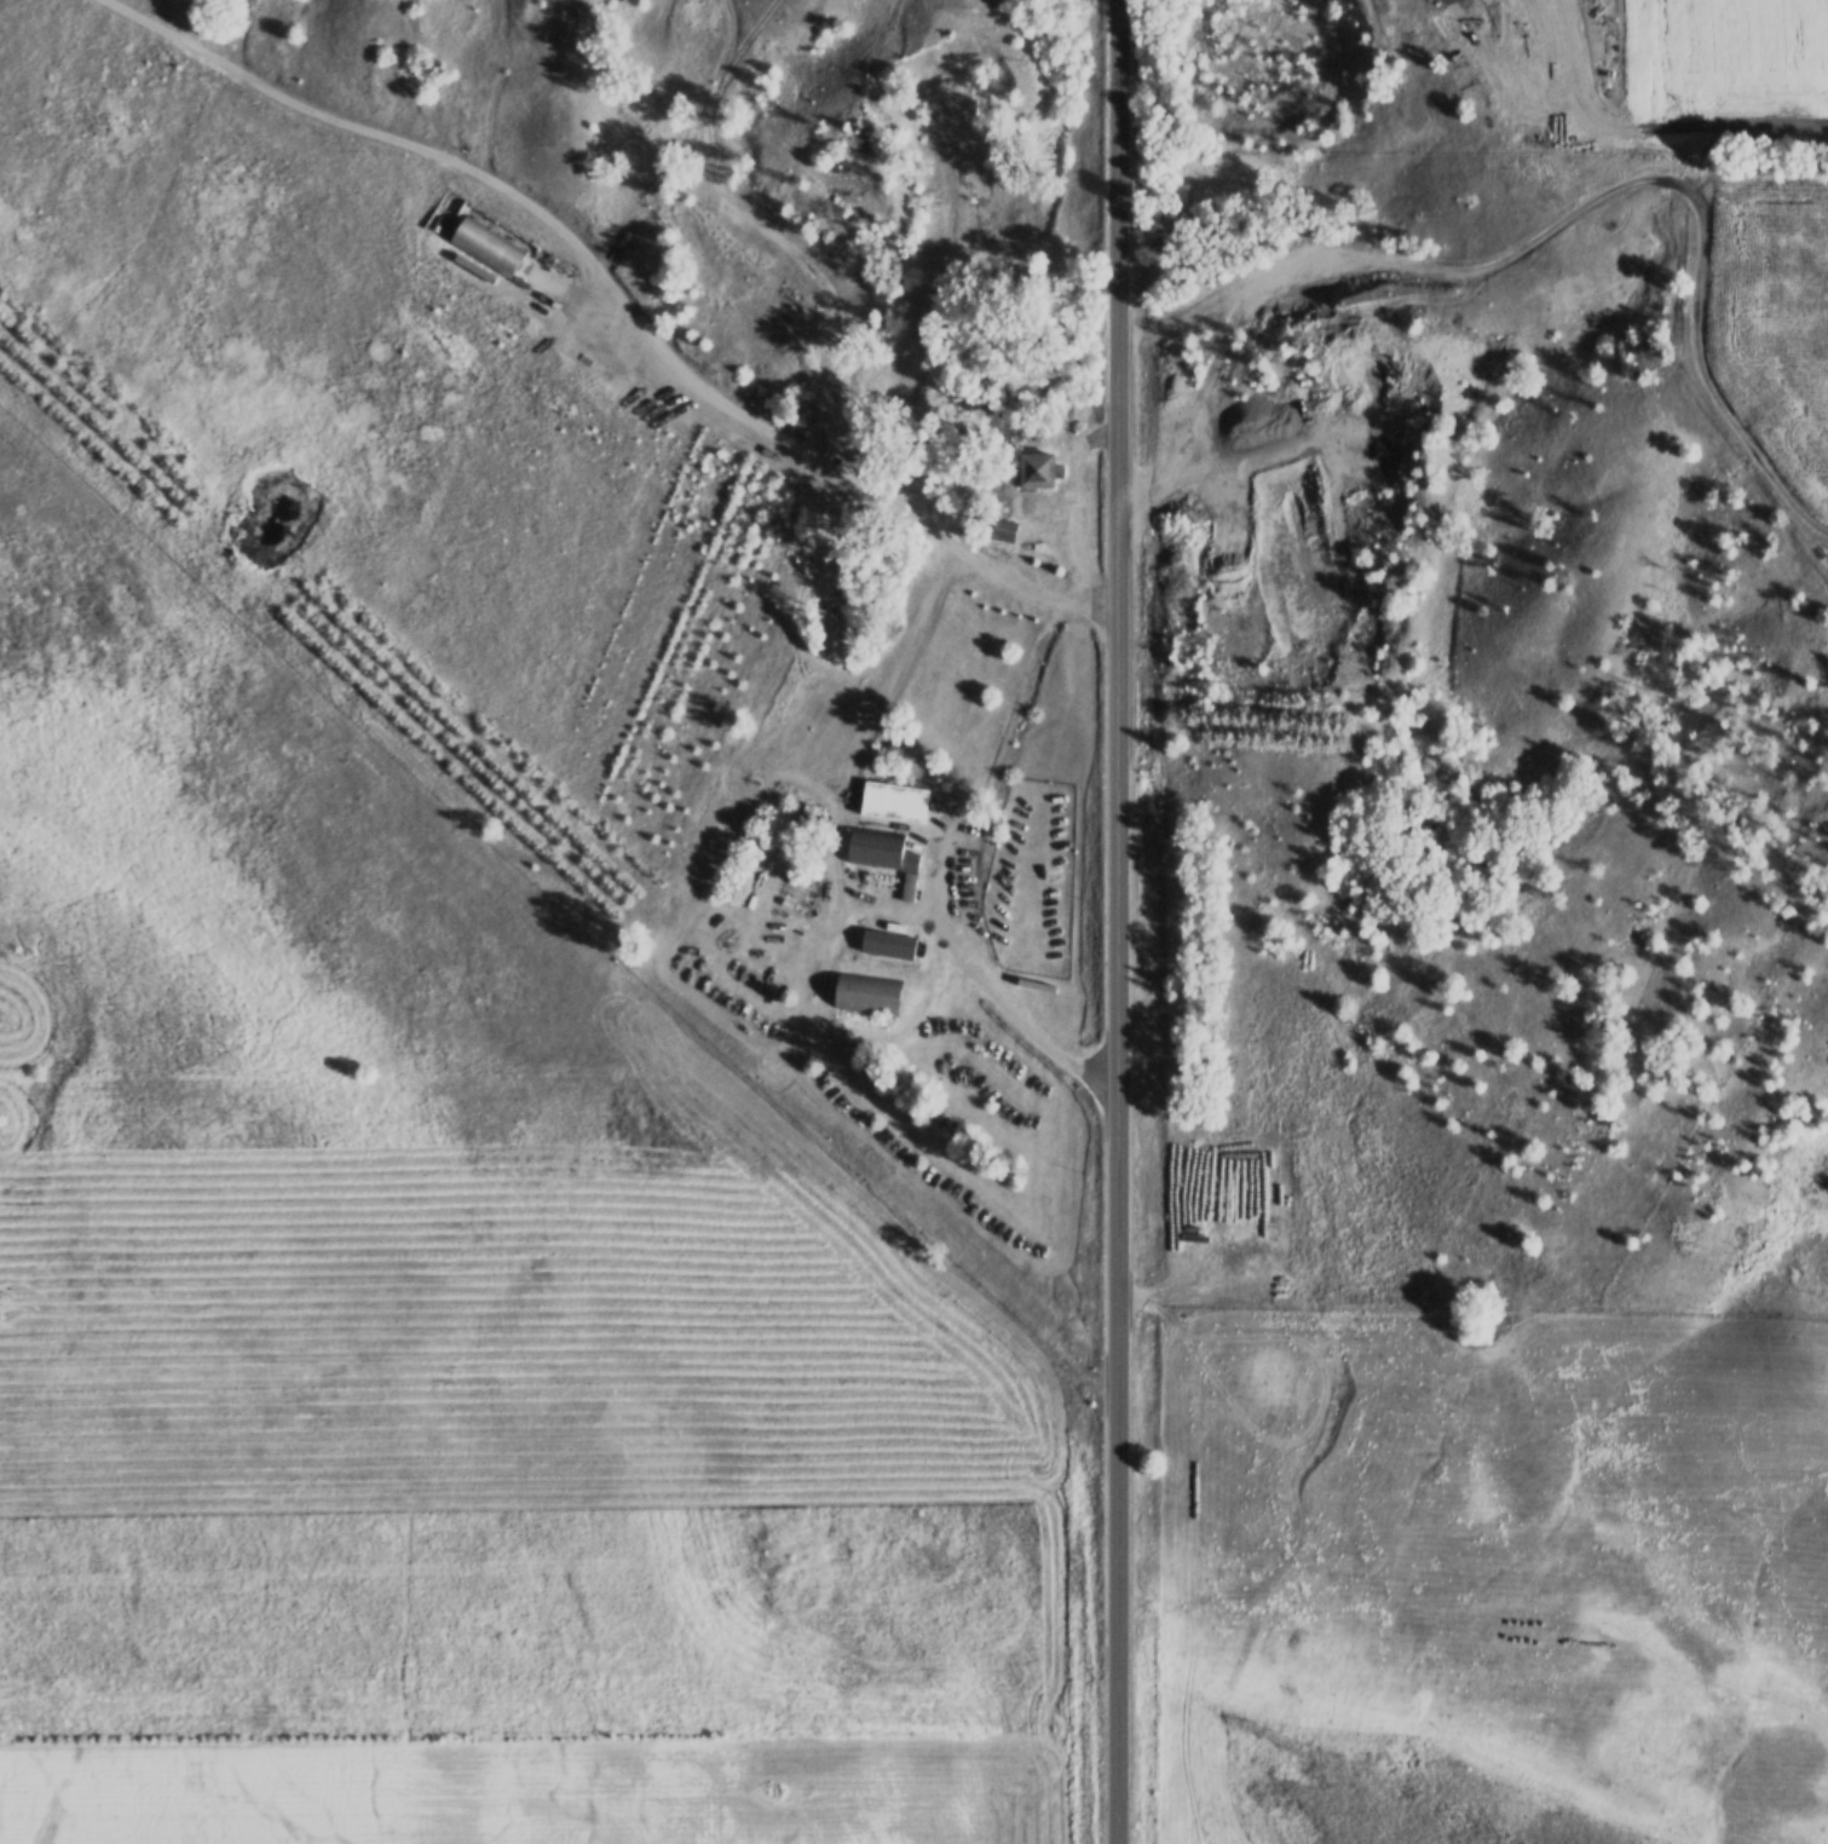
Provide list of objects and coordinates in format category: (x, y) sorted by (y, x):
building: (443, 214)
building: (484, 247)
building: (1032, 469)
building: (893, 803)
building: (883, 857)
road: (1120, 922)
building: (886, 946)
building: (865, 995)

